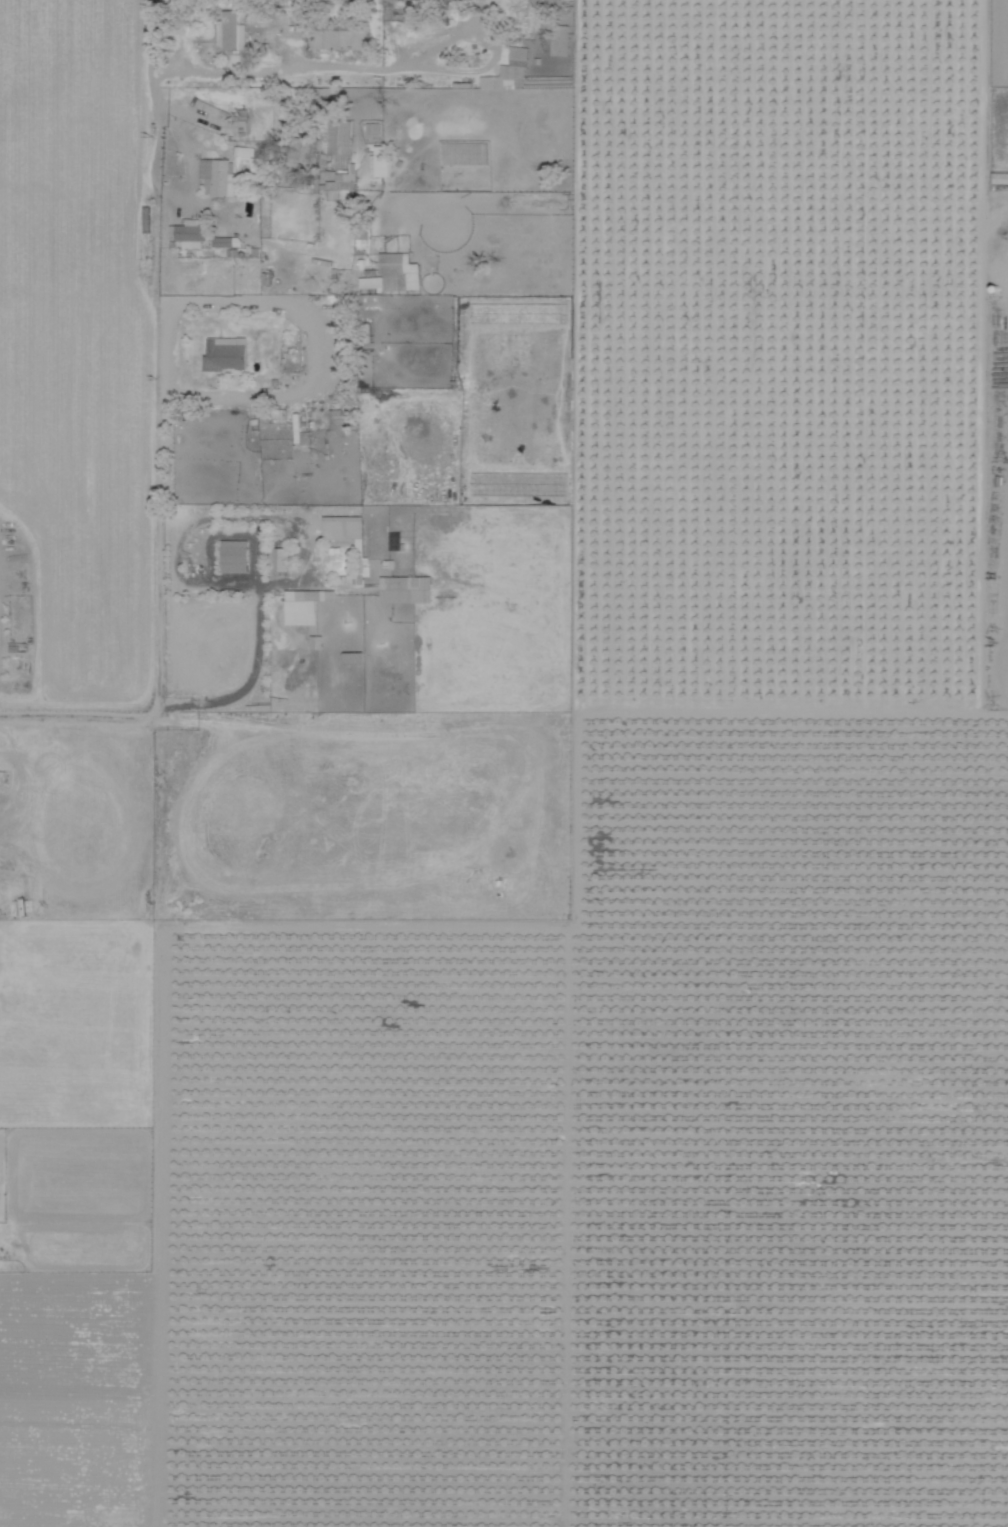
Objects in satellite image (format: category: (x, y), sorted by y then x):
building: (230, 30)
building: (562, 30)
building: (508, 71)
building: (372, 128)
building: (294, 150)
building: (379, 159)
building: (217, 173)
road: (199, 202)
building: (188, 231)
building: (223, 239)
building: (393, 272)
building: (224, 352)
road: (158, 514)
building: (342, 526)
building: (233, 555)
building: (277, 558)
building: (405, 588)
building: (300, 606)
road: (570, 836)
crop: (623, 1182)

